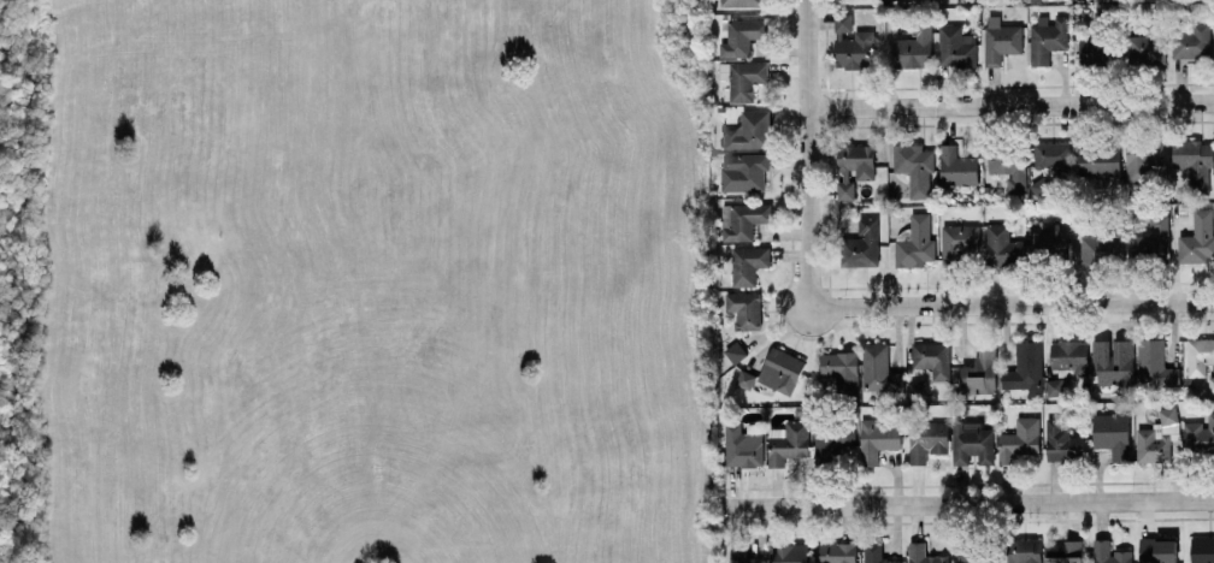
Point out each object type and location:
building: (888, 0)
building: (741, 2)
building: (742, 35)
building: (1047, 37)
building: (1192, 41)
building: (1001, 42)
building: (851, 43)
building: (955, 46)
building: (913, 48)
building: (1144, 49)
building: (1094, 51)
building: (742, 78)
road: (1010, 103)
building: (748, 130)
road: (808, 153)
building: (1053, 155)
building: (1097, 160)
building: (1143, 161)
building: (1192, 161)
building: (914, 166)
building: (956, 166)
building: (853, 167)
building: (743, 171)
building: (1007, 172)
building: (1041, 186)
building: (743, 220)
building: (1198, 237)
building: (1047, 238)
building: (914, 242)
building: (957, 242)
building: (861, 244)
building: (1001, 245)
building: (748, 262)
road: (1013, 303)
building: (744, 308)
building: (735, 350)
building: (1198, 355)
building: (932, 357)
building: (1069, 357)
building: (1112, 361)
building: (1154, 365)
building: (841, 368)
building: (878, 368)
building: (1025, 368)
building: (780, 369)
building: (980, 369)
building: (744, 378)
building: (1212, 384)
building: (1054, 386)
building: (918, 390)
building: (1112, 433)
building: (1200, 434)
building: (1156, 437)
building: (877, 439)
building: (927, 439)
building: (1019, 439)
building: (788, 440)
building: (1061, 440)
building: (971, 441)
building: (832, 443)
building: (742, 446)
road: (972, 502)
building: (1024, 550)
building: (1157, 550)
building: (1202, 550)
building: (1063, 551)
building: (789, 552)
building: (836, 552)
building: (1109, 552)
building: (876, 553)
building: (923, 553)
building: (742, 555)
building: (973, 557)

